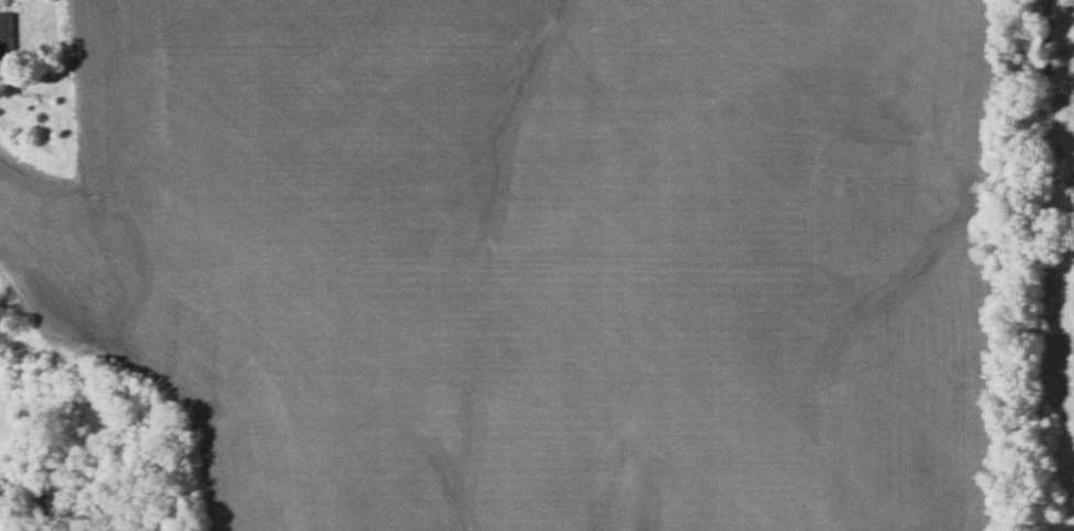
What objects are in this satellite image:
building: (8, 34)

